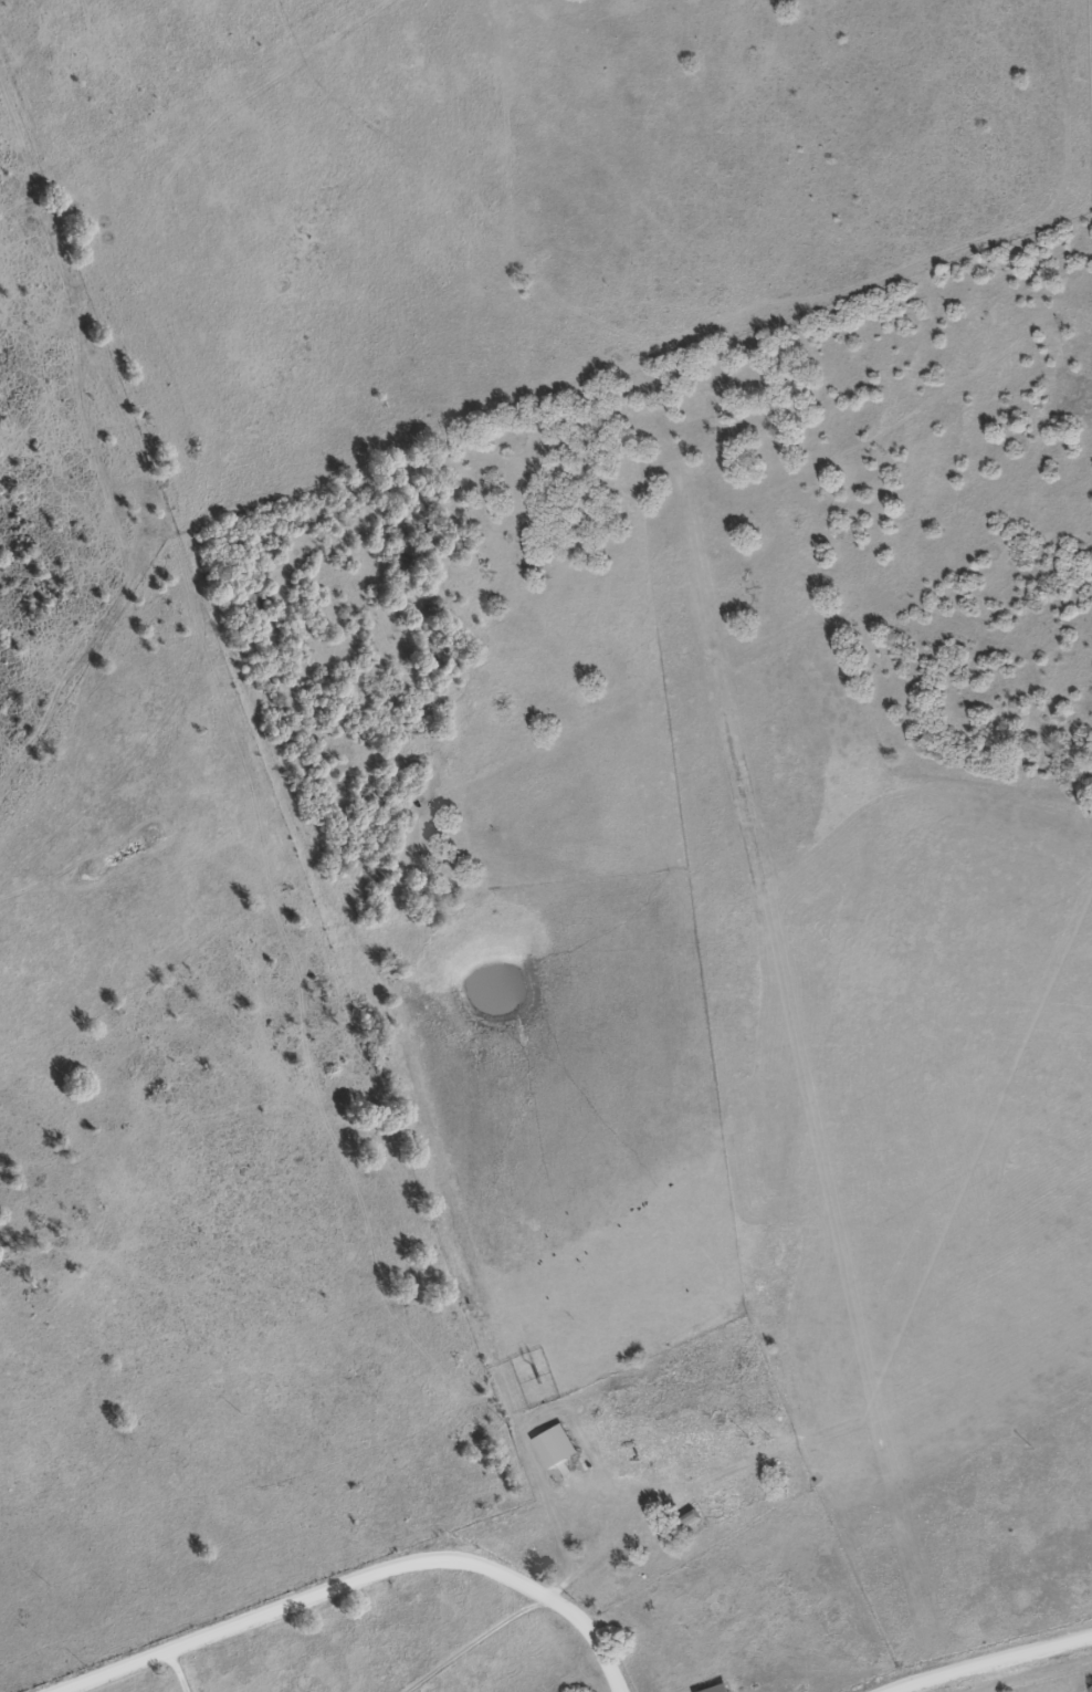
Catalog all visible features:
building: (559, 1445)
road: (347, 1579)
road: (468, 1644)
road: (991, 1663)
road: (169, 1670)
building: (723, 1688)

